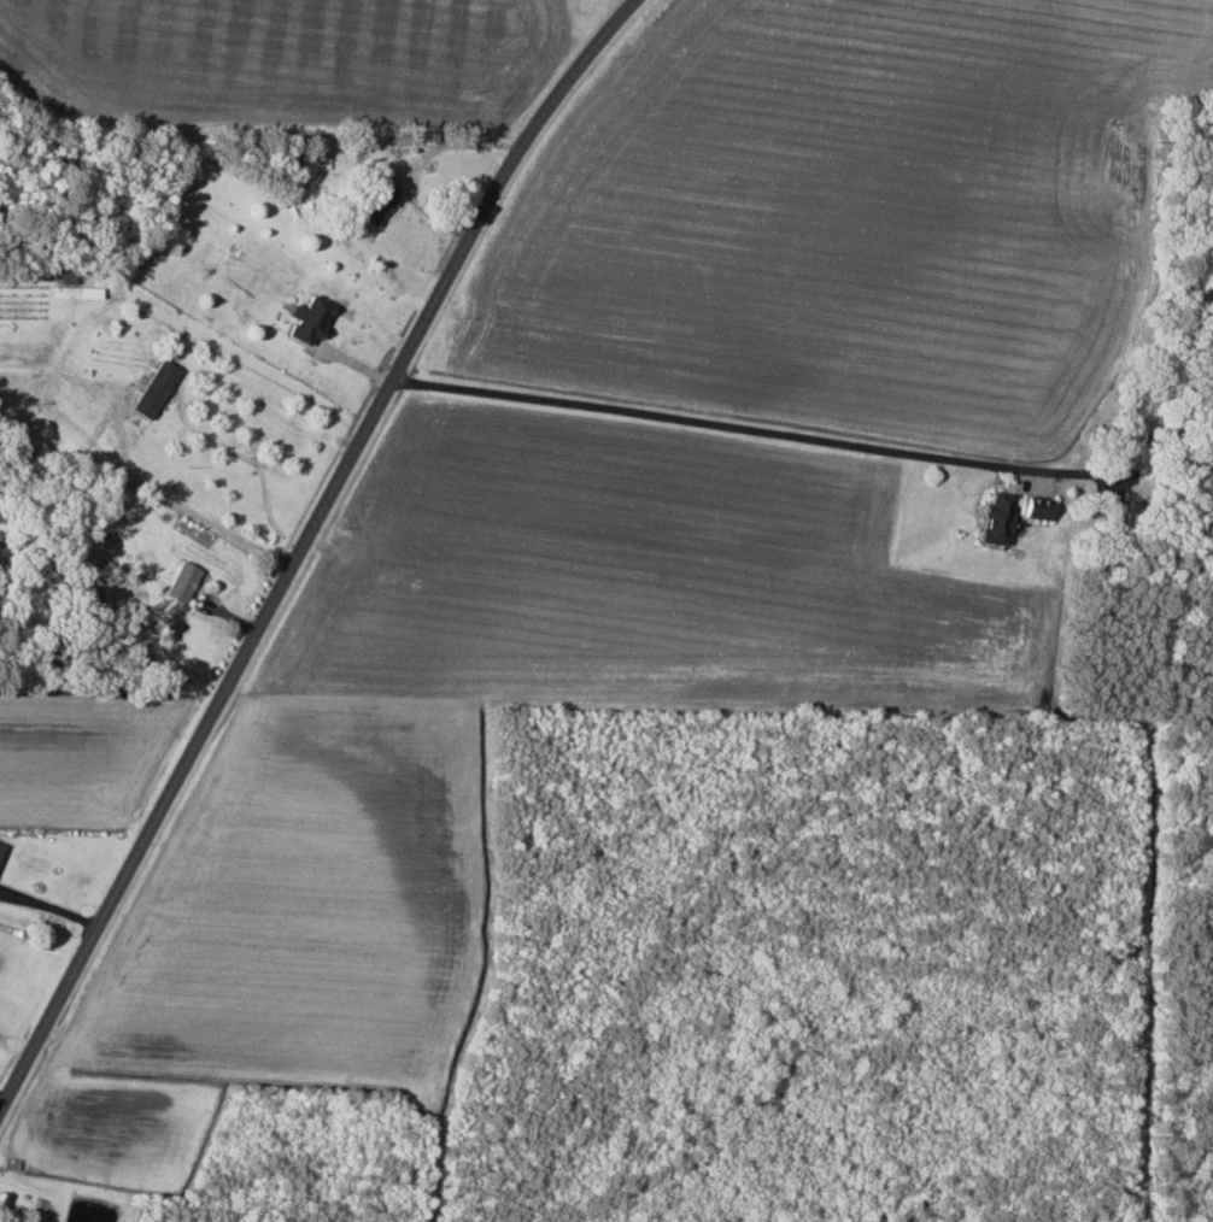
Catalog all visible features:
building: (313, 166)
building: (379, 204)
building: (309, 319)
road: (729, 421)
road: (147, 422)
building: (1037, 509)
building: (997, 518)
road: (304, 553)
building: (182, 582)
building: (1, 848)
building: (37, 1216)

